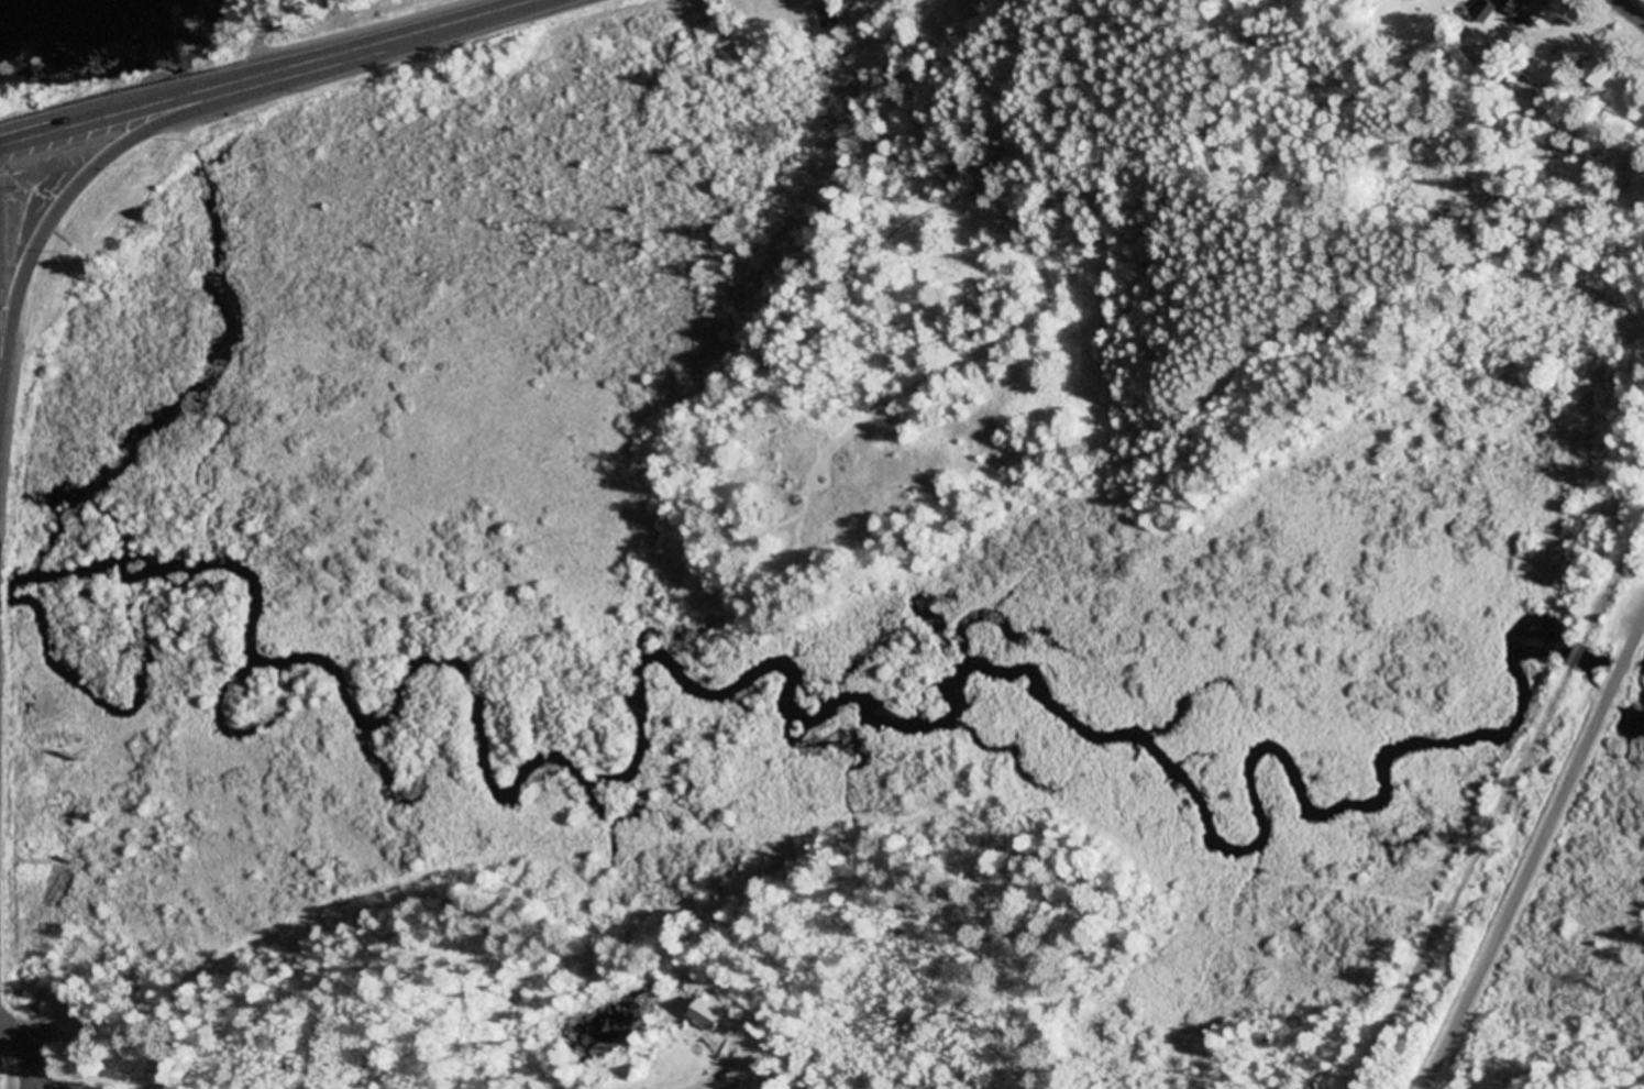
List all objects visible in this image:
building: (1515, 7)
road: (1631, 10)
building: (829, 15)
road: (400, 41)
building: (1525, 90)
road: (128, 114)
road: (63, 207)
road: (1639, 632)
road: (1624, 662)
road: (1521, 887)
building: (710, 1015)

